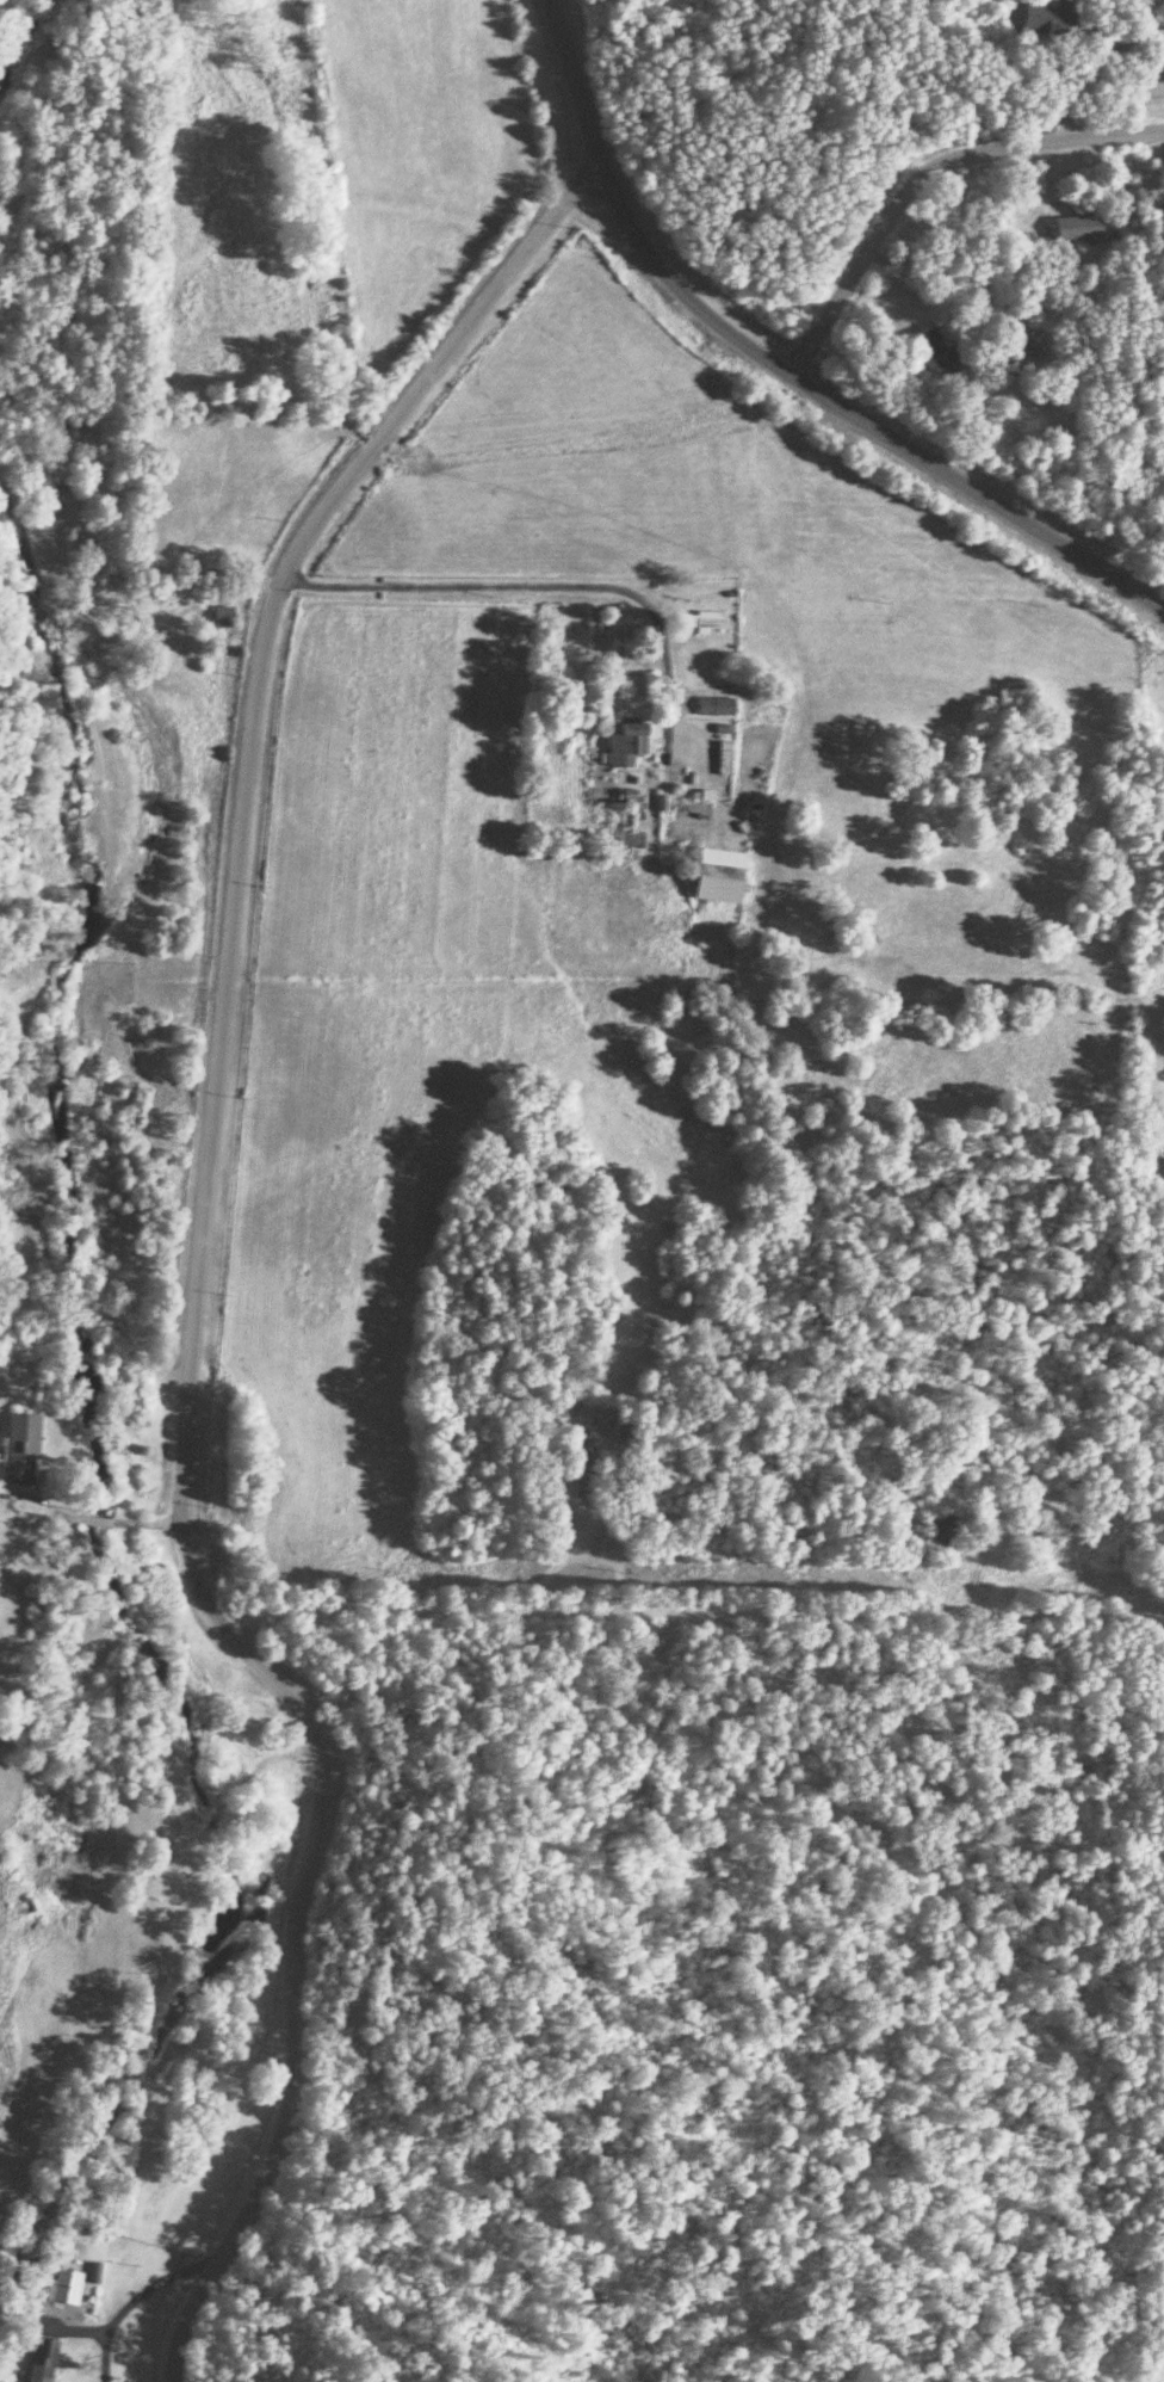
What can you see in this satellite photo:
road: (925, 174)
building: (1073, 222)
road: (924, 283)
building: (930, 347)
road: (780, 370)
road: (145, 563)
building: (700, 616)
building: (714, 703)
building: (629, 738)
building: (713, 880)
road: (193, 1252)
building: (21, 1451)
building: (577, 1469)
road: (88, 1522)
building: (942, 1530)
road: (558, 1563)
road: (689, 1613)
road: (130, 2301)
building: (39, 2359)

